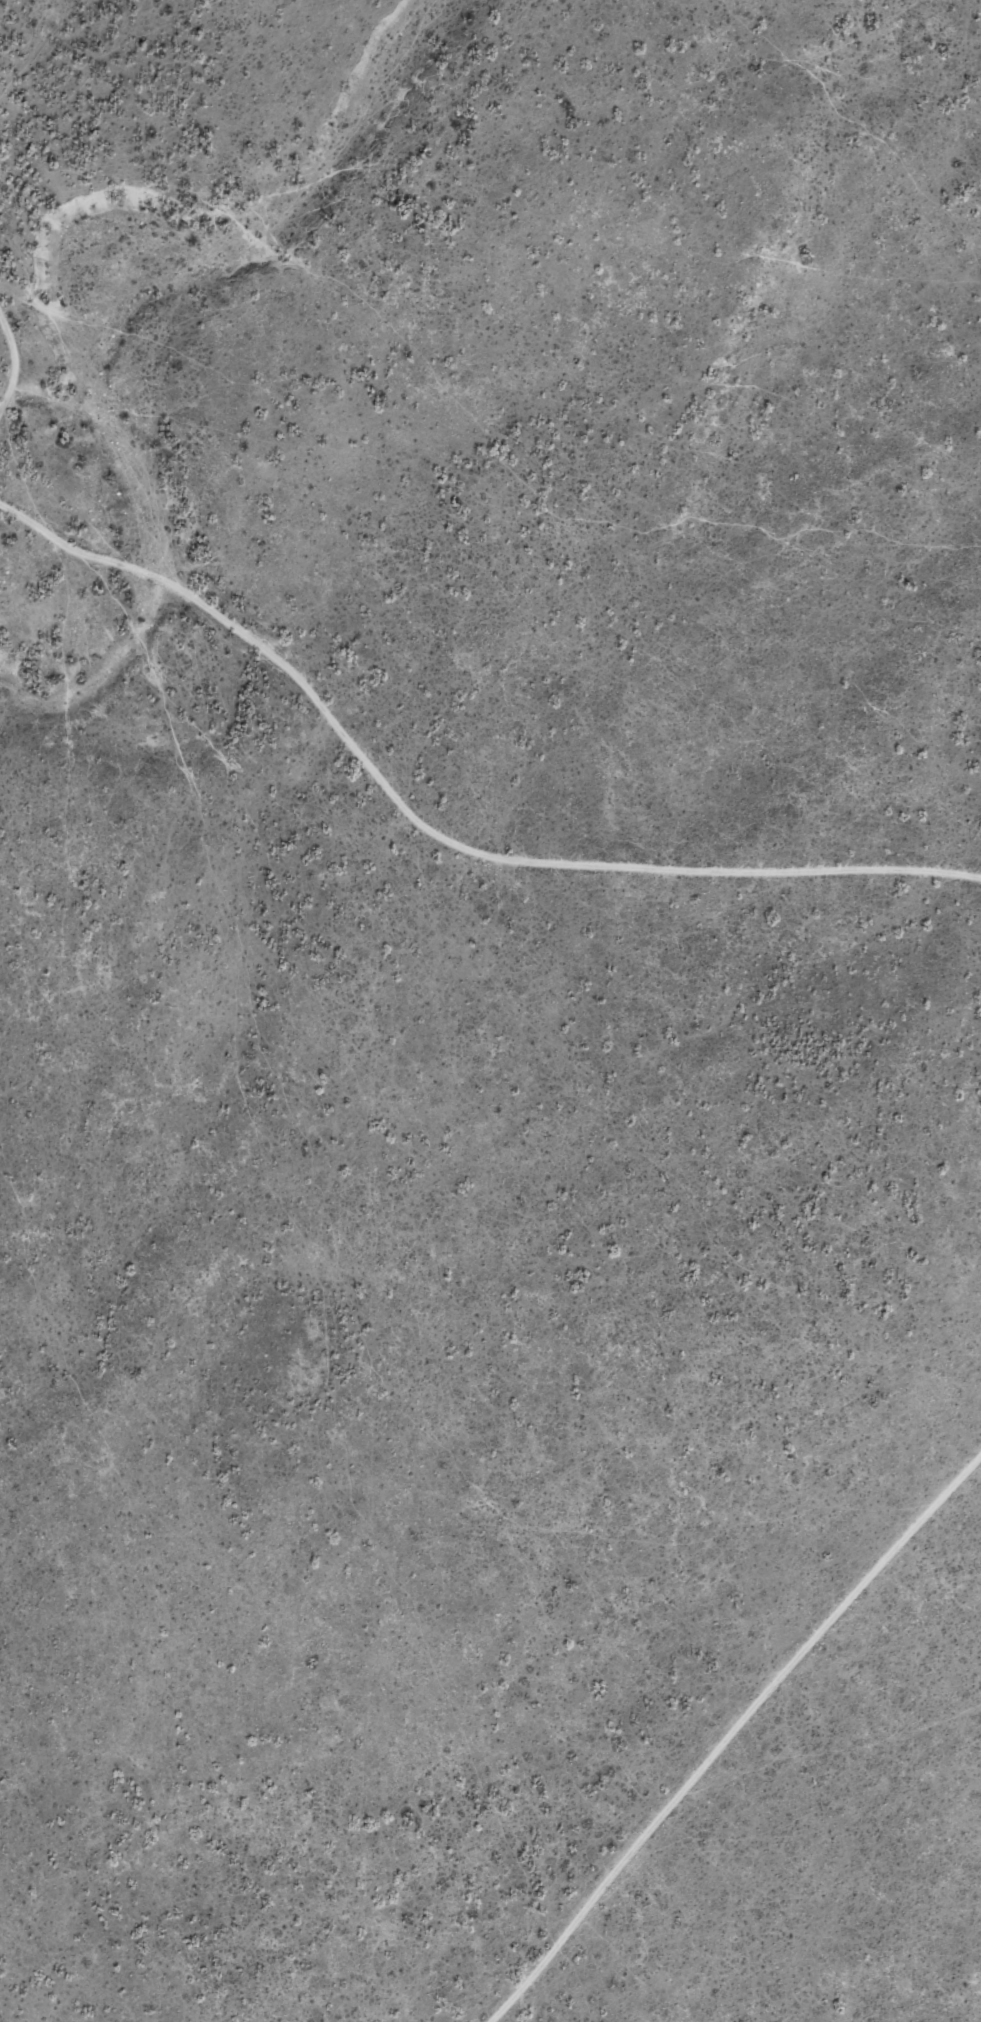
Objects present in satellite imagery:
road: (13, 384)
road: (441, 825)
road: (747, 1755)

